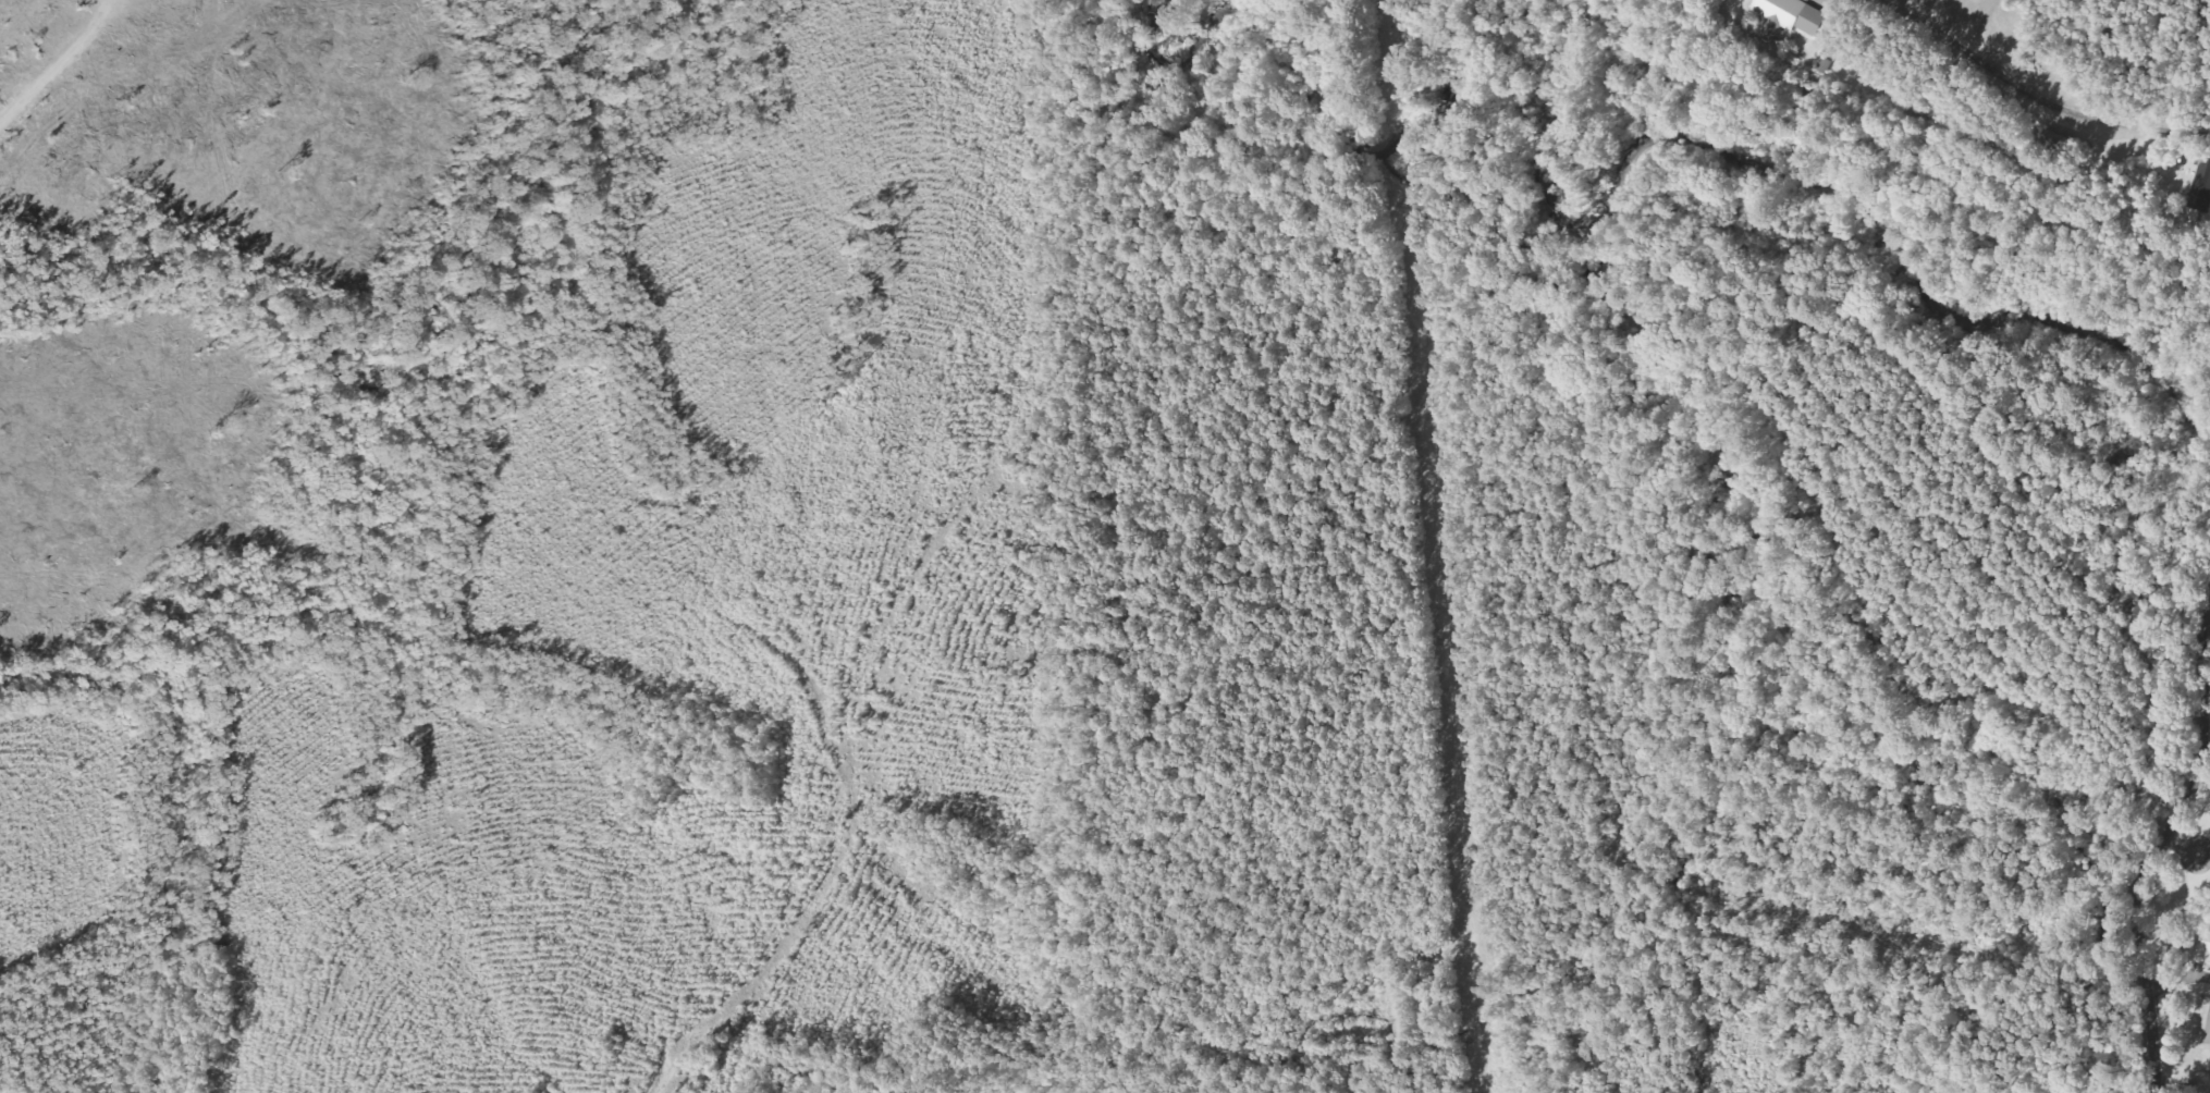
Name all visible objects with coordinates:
building: (1787, 16)
road: (2185, 90)
road: (2138, 870)
building: (2199, 948)
road: (717, 999)

